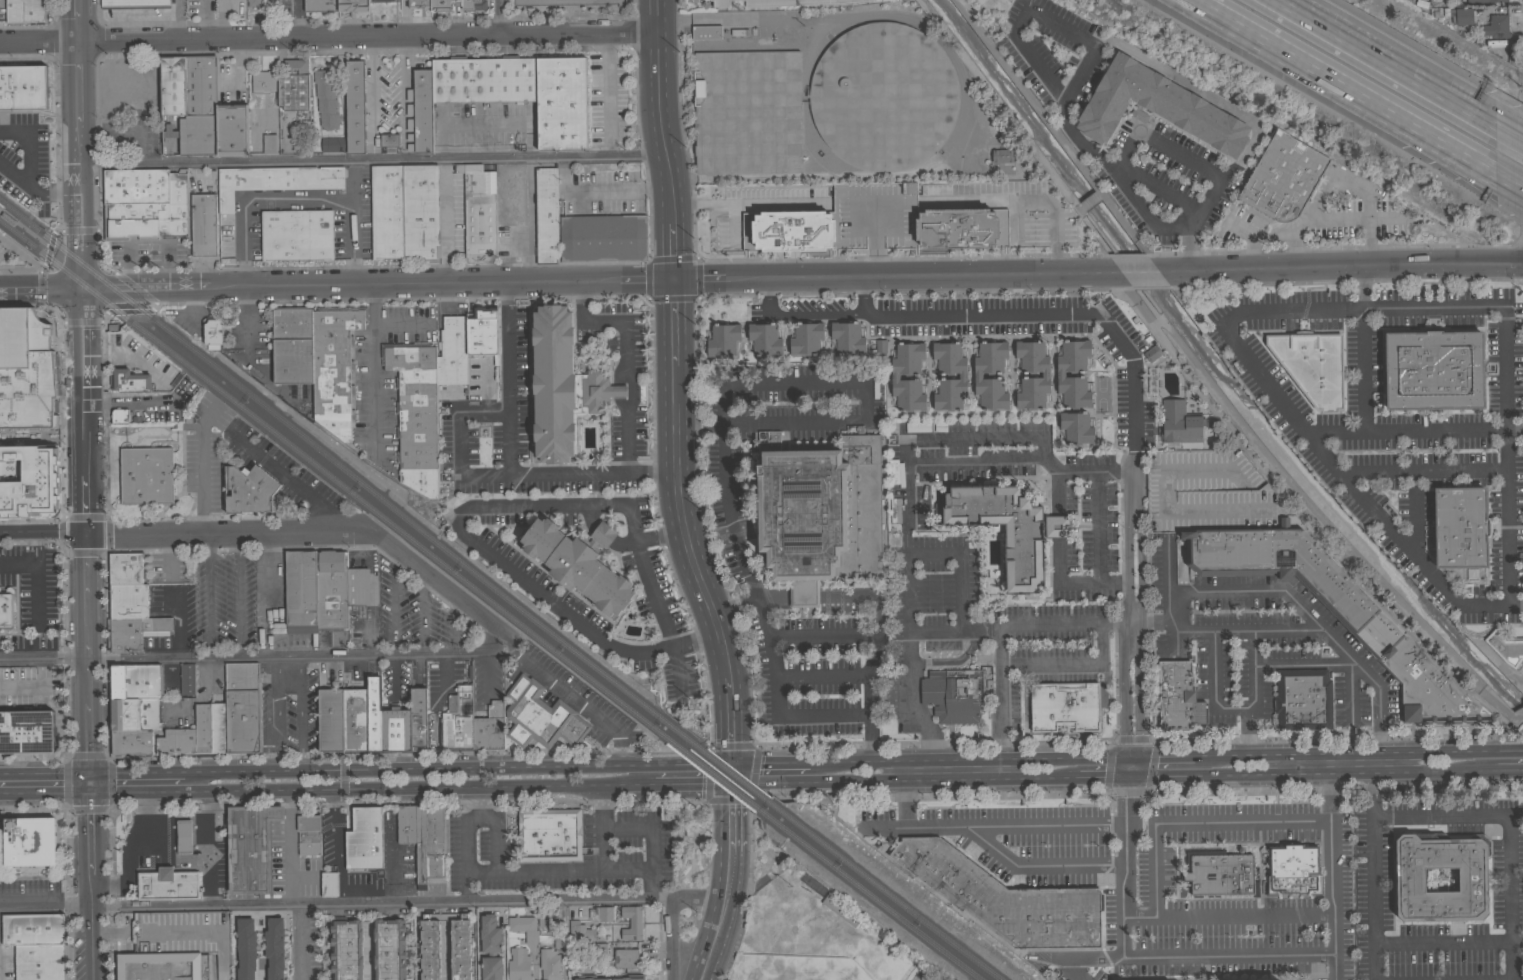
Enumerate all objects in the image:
building: (382, 1)
building: (1486, 1)
building: (789, 2)
park: (979, 2)
building: (254, 3)
power substation: (566, 3)
building: (721, 3)
building: (134, 4)
building: (418, 4)
building: (443, 4)
building: (473, 4)
building: (320, 5)
building: (353, 5)
building: (25, 11)
building: (1462, 15)
road: (500, 16)
road: (296, 18)
road: (76, 19)
building: (1495, 28)
building: (706, 32)
road: (327, 35)
road: (1388, 60)
road: (239, 66)
road: (1320, 72)
building: (263, 81)
road: (1074, 81)
building: (293, 85)
building: (23, 87)
building: (688, 90)
building: (521, 91)
road: (608, 92)
building: (883, 96)
storage tank: (883, 96)
building: (325, 99)
building: (191, 101)
road: (680, 101)
building: (355, 106)
building: (1156, 106)
building: (420, 112)
building: (747, 112)
road: (1014, 124)
road: (1508, 128)
building: (232, 131)
building: (388, 142)
building: (269, 143)
building: (333, 144)
road: (31, 145)
road: (56, 146)
building: (1003, 155)
road: (1470, 157)
road: (371, 158)
road: (79, 163)
building: (459, 168)
road: (1206, 169)
road: (1469, 169)
building: (1282, 177)
road: (1508, 179)
building: (274, 181)
road: (1158, 187)
road: (35, 188)
road: (617, 192)
road: (1099, 192)
road: (299, 197)
road: (1089, 199)
road: (698, 202)
building: (144, 203)
road: (777, 203)
road: (1508, 205)
parking lot: (765, 206)
road: (1079, 206)
railway: (3, 207)
building: (421, 210)
building: (387, 211)
building: (544, 213)
building: (478, 217)
road: (1386, 217)
building: (8, 218)
road: (446, 218)
road: (1318, 219)
building: (875, 223)
building: (203, 224)
road: (732, 225)
road: (25, 228)
road: (78, 229)
building: (296, 234)
building: (601, 235)
road: (1253, 246)
road: (48, 247)
road: (1290, 250)
railway: (70, 255)
road: (970, 257)
traffic signals: (672, 258)
road: (696, 258)
road: (374, 264)
road: (1340, 264)
road: (42, 267)
road: (1139, 270)
traffic signals: (672, 277)
traffic signals: (697, 277)
road: (601, 278)
traffic signals: (648, 278)
road: (1362, 285)
road: (40, 286)
road: (135, 287)
road: (1107, 287)
road: (40, 288)
traffic signals: (82, 288)
road: (863, 292)
road: (767, 294)
traffic signals: (672, 296)
road: (398, 298)
road: (1140, 306)
road: (129, 310)
road: (816, 313)
road: (1009, 314)
road: (81, 320)
road: (605, 320)
building: (482, 331)
building: (213, 333)
building: (806, 337)
building: (847, 337)
building: (765, 338)
building: (723, 339)
building: (292, 345)
building: (881, 347)
road: (508, 349)
building: (452, 351)
building: (1151, 354)
road: (374, 364)
building: (1311, 366)
building: (334, 367)
building: (26, 369)
road: (1362, 369)
building: (1433, 370)
road: (621, 374)
building: (1045, 374)
building: (1060, 374)
building: (978, 375)
building: (895, 376)
building: (962, 376)
building: (128, 380)
road: (862, 382)
road: (60, 383)
road: (674, 384)
building: (561, 385)
road: (634, 388)
road: (620, 390)
road: (1277, 393)
road: (621, 403)
road: (83, 408)
road: (103, 413)
building: (415, 413)
building: (119, 415)
building: (1180, 426)
road: (698, 427)
building: (1076, 427)
road: (1133, 428)
road: (1514, 430)
road: (1409, 432)
road: (929, 440)
road: (627, 442)
road: (198, 466)
road: (1421, 472)
road: (651, 473)
road: (39, 474)
building: (146, 475)
road: (462, 475)
railway: (330, 477)
building: (17, 482)
building: (249, 490)
road: (1057, 492)
road: (588, 505)
building: (895, 510)
building: (820, 511)
road: (729, 513)
railway: (408, 519)
road: (1308, 521)
road: (1098, 522)
road: (105, 524)
road: (659, 525)
road: (705, 525)
building: (1009, 525)
road: (1057, 525)
traffic signals: (85, 530)
building: (1450, 530)
road: (183, 534)
road: (660, 535)
road: (932, 554)
road: (18, 562)
road: (501, 563)
building: (579, 563)
building: (1287, 564)
road: (36, 576)
road: (1060, 577)
building: (127, 585)
road: (439, 586)
building: (357, 589)
building: (301, 591)
road: (1268, 592)
building: (331, 594)
road: (209, 595)
road: (239, 595)
road: (770, 595)
road: (734, 603)
road: (1515, 606)
building: (6, 610)
parking lot: (414, 614)
road: (663, 618)
road: (1051, 624)
road: (1125, 627)
road: (1140, 627)
road: (1267, 629)
building: (134, 632)
road: (958, 633)
road: (821, 635)
road: (696, 642)
road: (1214, 644)
road: (1253, 647)
building: (1505, 647)
road: (87, 650)
road: (255, 656)
parking lot: (823, 661)
road: (1340, 663)
road: (1091, 664)
road: (288, 665)
road: (821, 676)
building: (187, 678)
building: (135, 680)
parking lot: (440, 685)
road: (34, 686)
building: (953, 694)
building: (1175, 694)
road: (277, 696)
building: (1303, 699)
road: (573, 700)
road: (999, 701)
building: (242, 707)
building: (1063, 707)
road: (918, 708)
road: (301, 710)
building: (133, 712)
building: (373, 713)
building: (540, 716)
building: (418, 718)
building: (330, 719)
building: (355, 720)
building: (458, 720)
building: (218, 727)
building: (202, 728)
building: (489, 728)
building: (395, 729)
building: (434, 729)
road: (272, 730)
road: (1247, 730)
building: (26, 731)
road: (869, 737)
road: (67, 739)
road: (105, 739)
building: (176, 740)
building: (131, 742)
road: (266, 744)
road: (830, 746)
road: (1496, 749)
road: (411, 752)
road: (1332, 752)
road: (1132, 755)
road: (1167, 755)
road: (34, 756)
road: (1061, 756)
road: (902, 758)
road: (267, 762)
road: (303, 762)
road: (769, 762)
road: (675, 763)
road: (1122, 765)
road: (1140, 765)
railway: (722, 766)
road: (401, 767)
road: (1508, 768)
road: (137, 771)
road: (730, 771)
road: (1371, 771)
road: (45, 772)
railway: (710, 773)
road: (1219, 773)
road: (1165, 775)
road: (1098, 776)
road: (1130, 776)
traffic signals: (1140, 776)
road: (344, 777)
road: (940, 777)
road: (90, 781)
traffic signals: (730, 781)
road: (767, 781)
road: (692, 782)
road: (637, 783)
road: (400, 786)
road: (120, 790)
road: (166, 790)
road: (45, 791)
traffic signals: (90, 791)
road: (1372, 792)
road: (334, 795)
road: (903, 799)
road: (1136, 801)
road: (432, 802)
road: (34, 805)
road: (107, 805)
road: (1119, 816)
road: (1197, 823)
building: (406, 824)
road: (1041, 826)
road: (91, 831)
building: (308, 834)
building: (548, 834)
road: (335, 835)
building: (183, 836)
building: (175, 837)
road: (496, 837)
building: (29, 841)
road: (1129, 841)
building: (365, 843)
building: (429, 843)
road: (206, 847)
building: (250, 847)
road: (129, 849)
road: (1511, 849)
road: (995, 850)
road: (1333, 866)
road: (339, 869)
building: (1293, 870)
building: (1219, 872)
road: (583, 874)
building: (1409, 879)
road: (343, 882)
road: (727, 882)
building: (167, 884)
building: (329, 884)
road: (654, 886)
road: (467, 890)
railway: (887, 891)
road: (69, 892)
road: (113, 892)
road: (373, 892)
railway: (869, 895)
road: (404, 897)
road: (1373, 897)
building: (1003, 898)
road: (335, 904)
road: (1120, 907)
building: (840, 909)
road: (671, 912)
building: (600, 913)
road: (1227, 916)
building: (545, 917)
building: (632, 922)
road: (91, 926)
building: (524, 927)
building: (32, 929)
park: (814, 930)
building: (581, 931)
road: (1518, 933)
building: (560, 937)
road: (301, 942)
road: (1444, 943)
building: (173, 945)
building: (274, 948)
building: (460, 948)
building: (491, 948)
building: (246, 949)
building: (389, 949)
building: (346, 950)
building: (600, 951)
building: (626, 958)
road: (1180, 958)
building: (41, 962)
building: (236, 963)
building: (519, 964)
building: (550, 964)
park: (918, 976)
building: (625, 978)
building: (605, 979)

